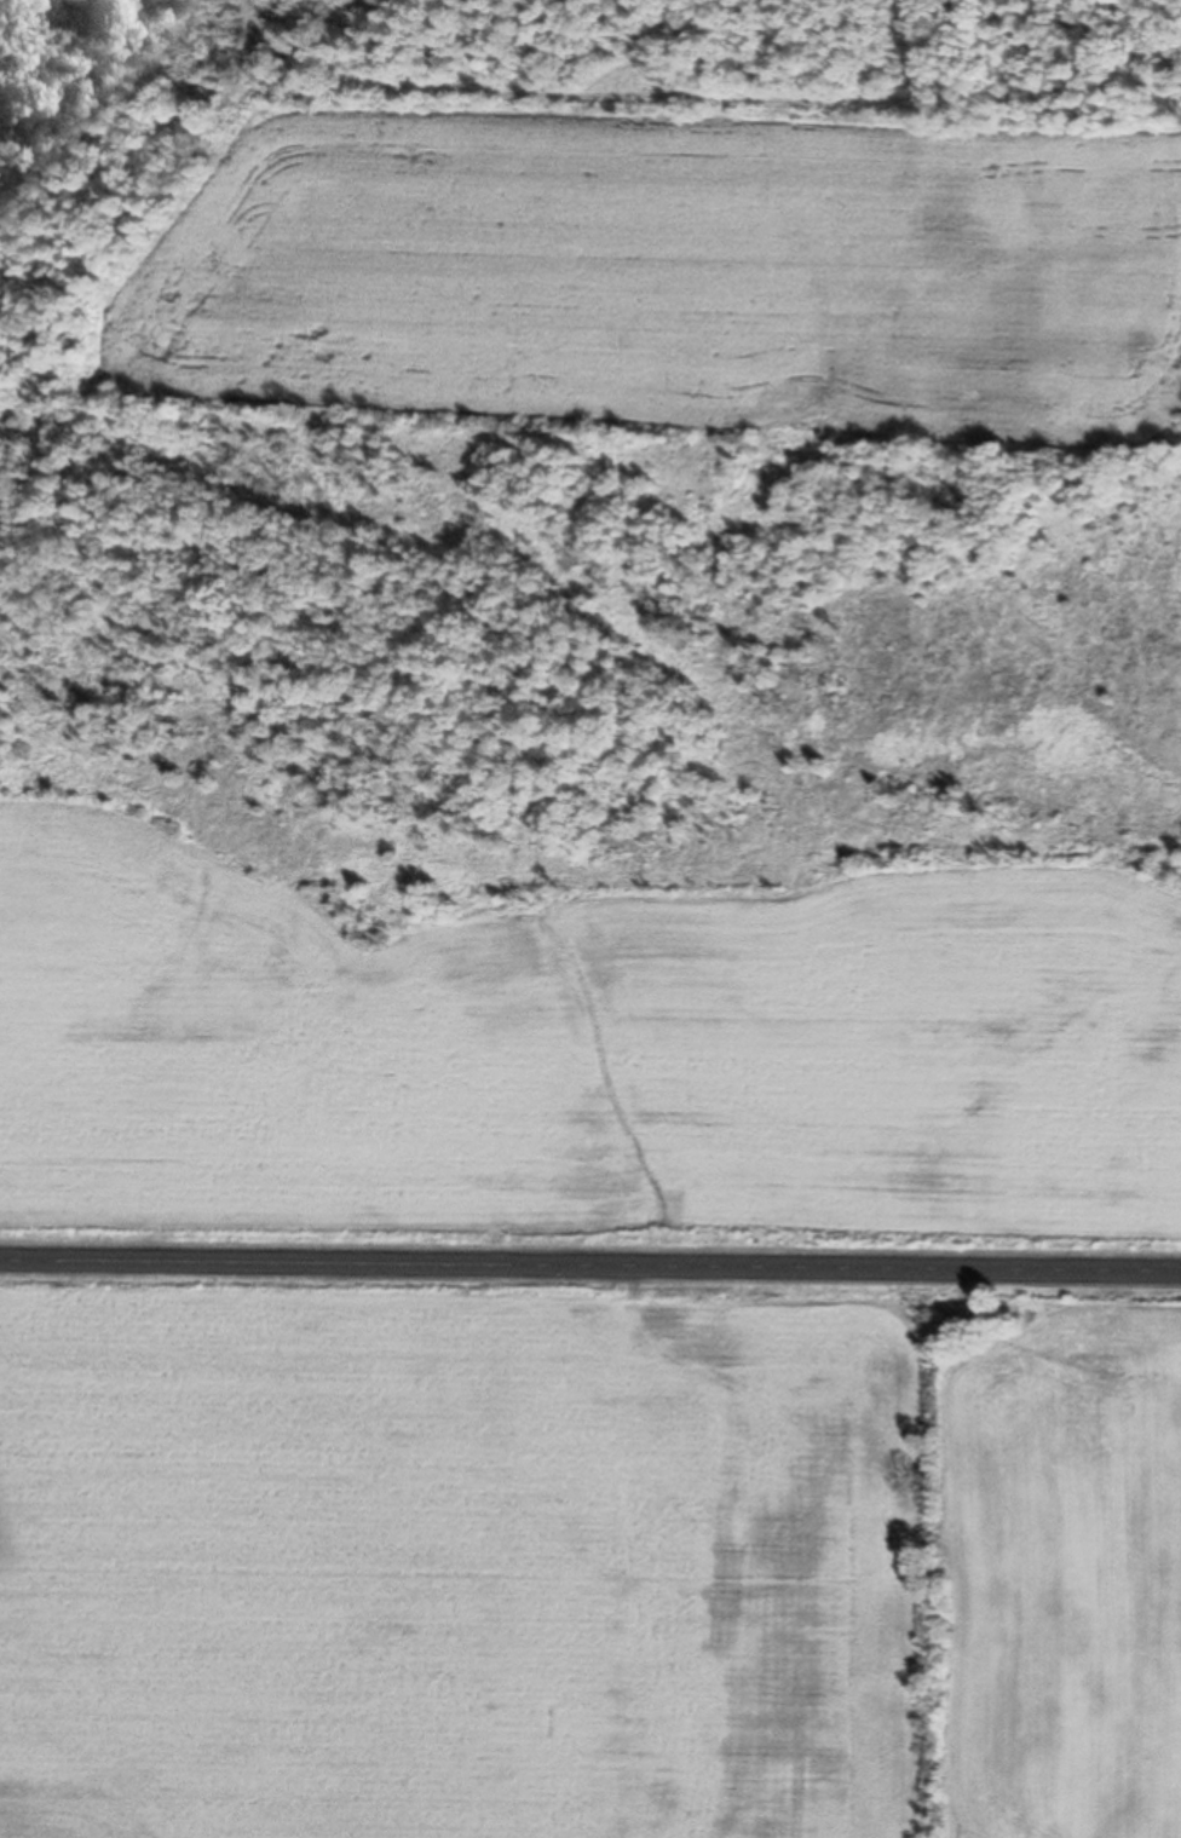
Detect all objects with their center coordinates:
road: (589, 1262)

